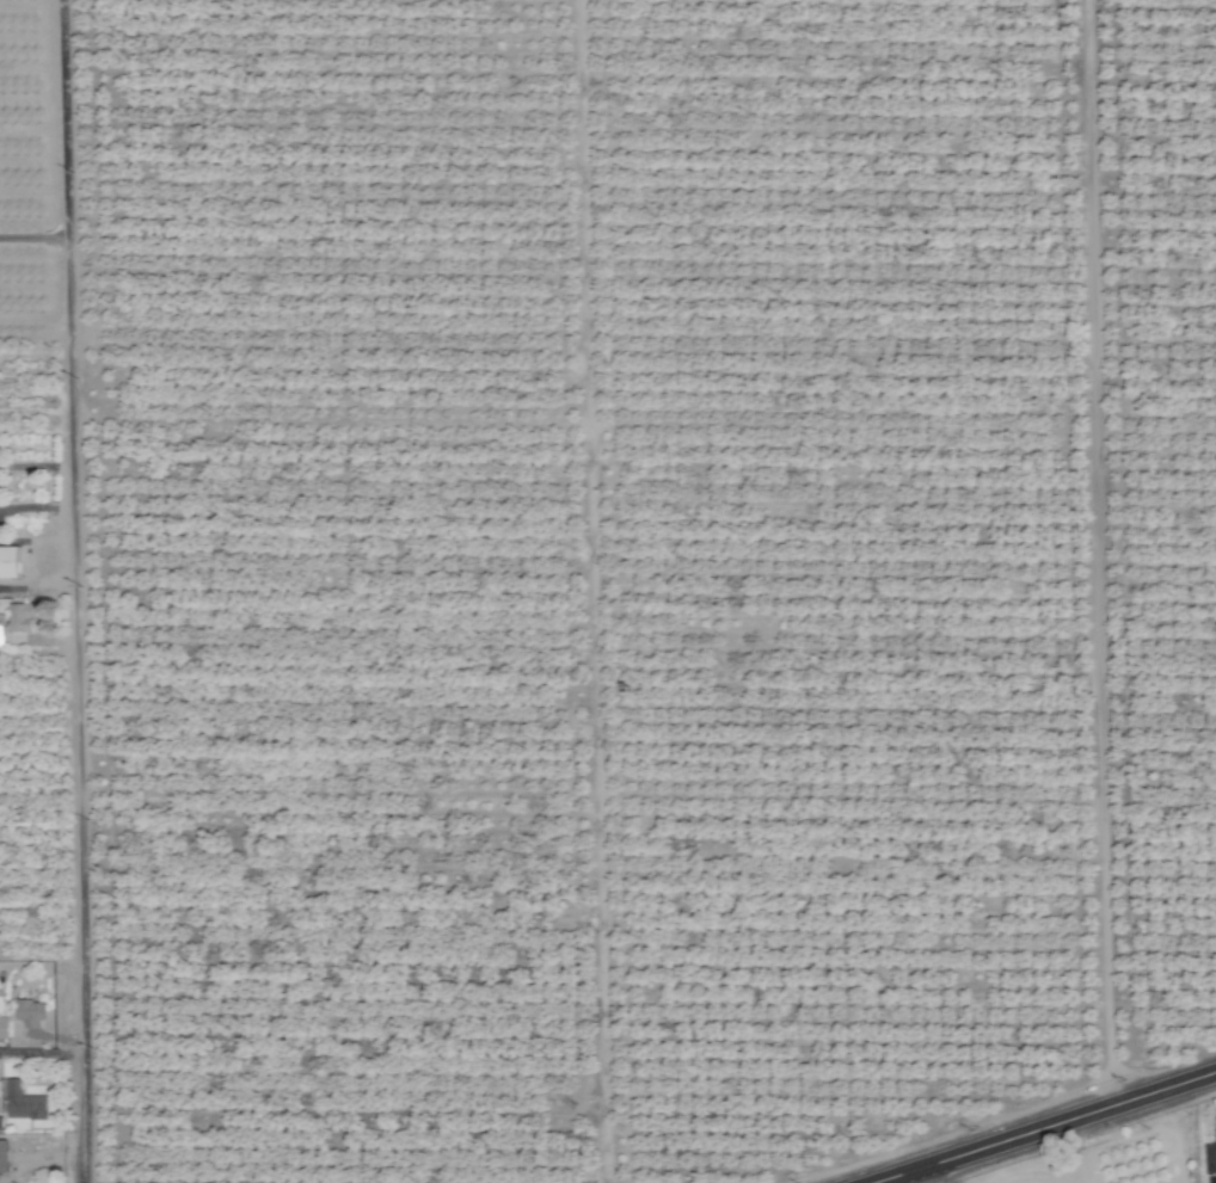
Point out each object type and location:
road: (35, 238)
road: (1094, 554)
building: (10, 561)
road: (80, 591)
building: (25, 615)
building: (30, 1012)
building: (4, 1027)
building: (19, 1099)
road: (1045, 1128)
building: (2, 1157)
road: (914, 1177)

